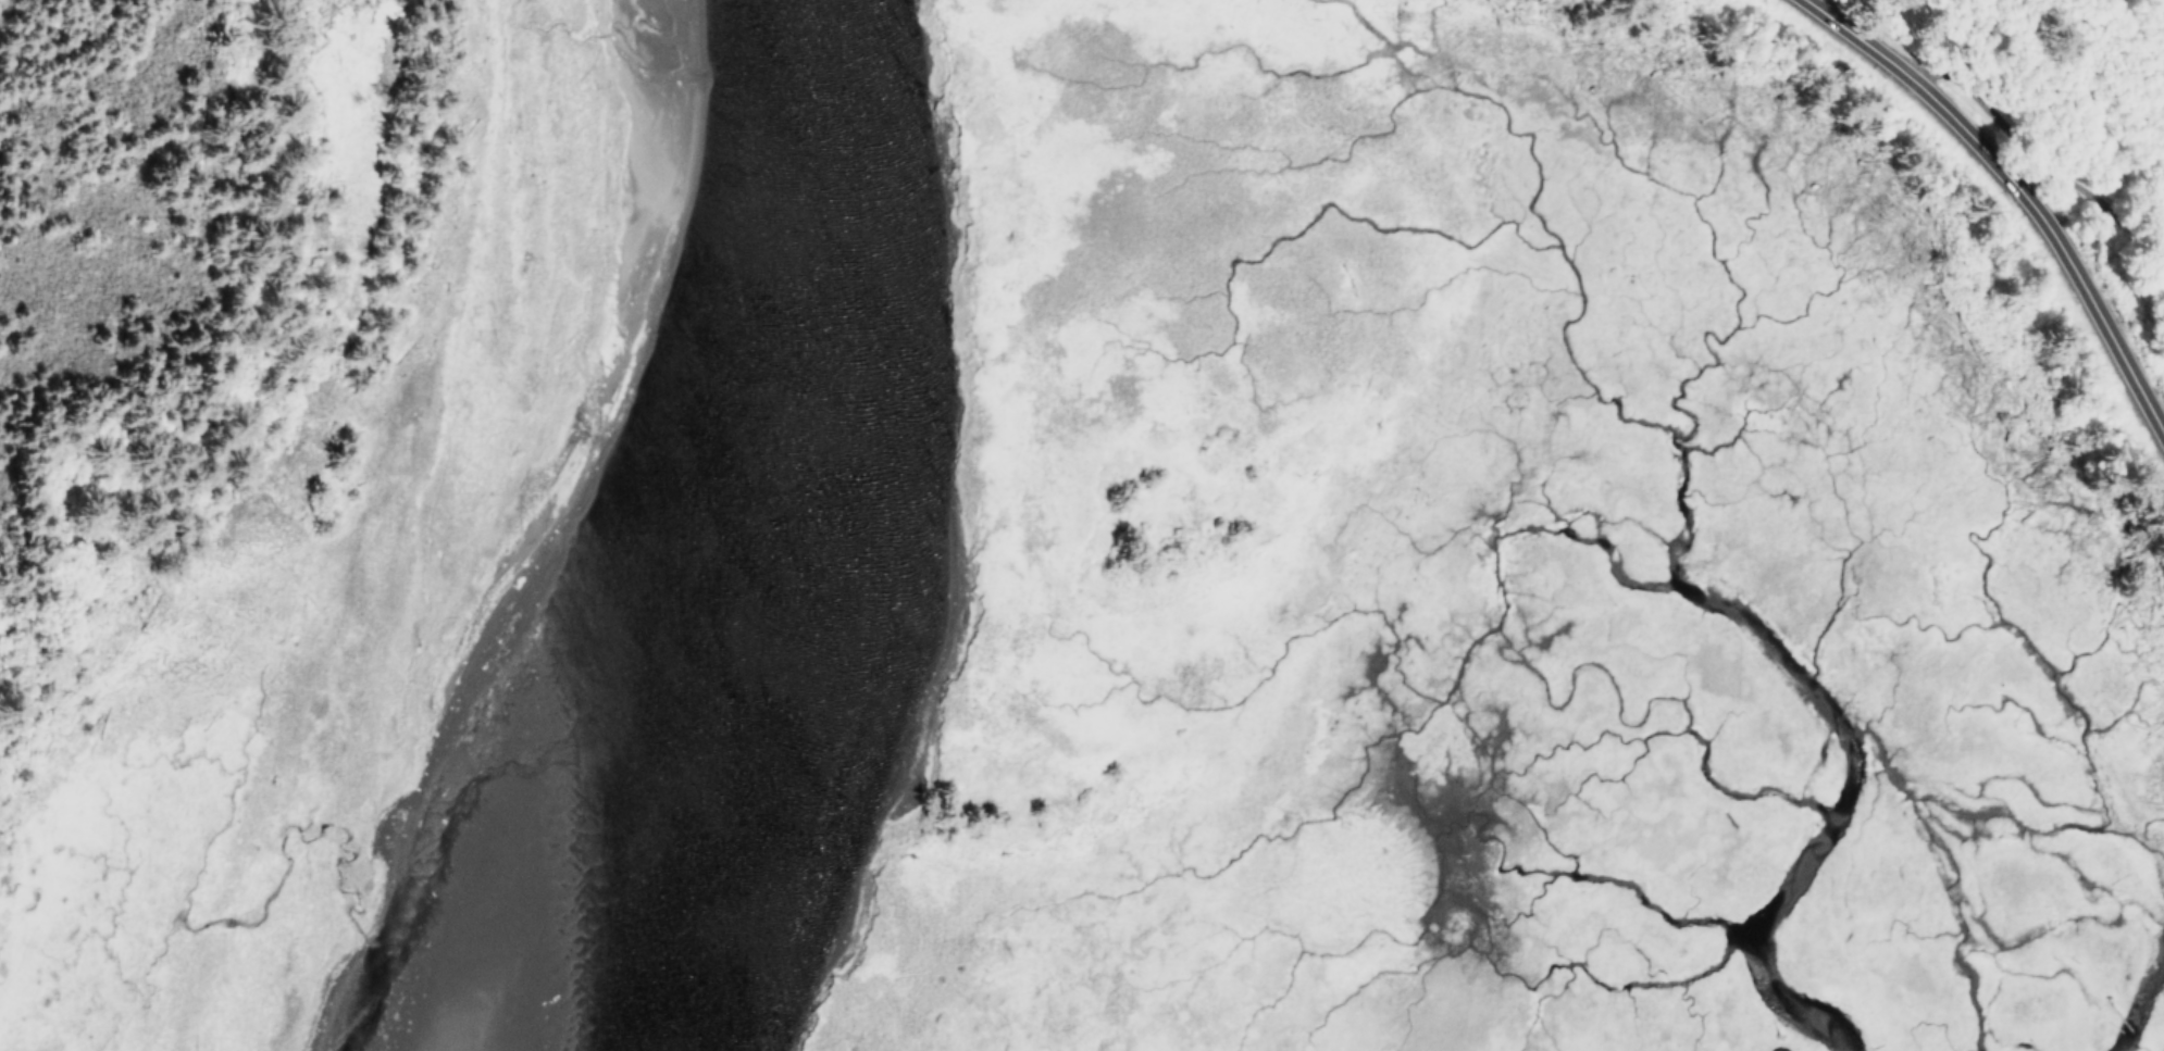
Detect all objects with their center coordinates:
road: (2041, 140)
road: (2018, 187)
river: (751, 534)

